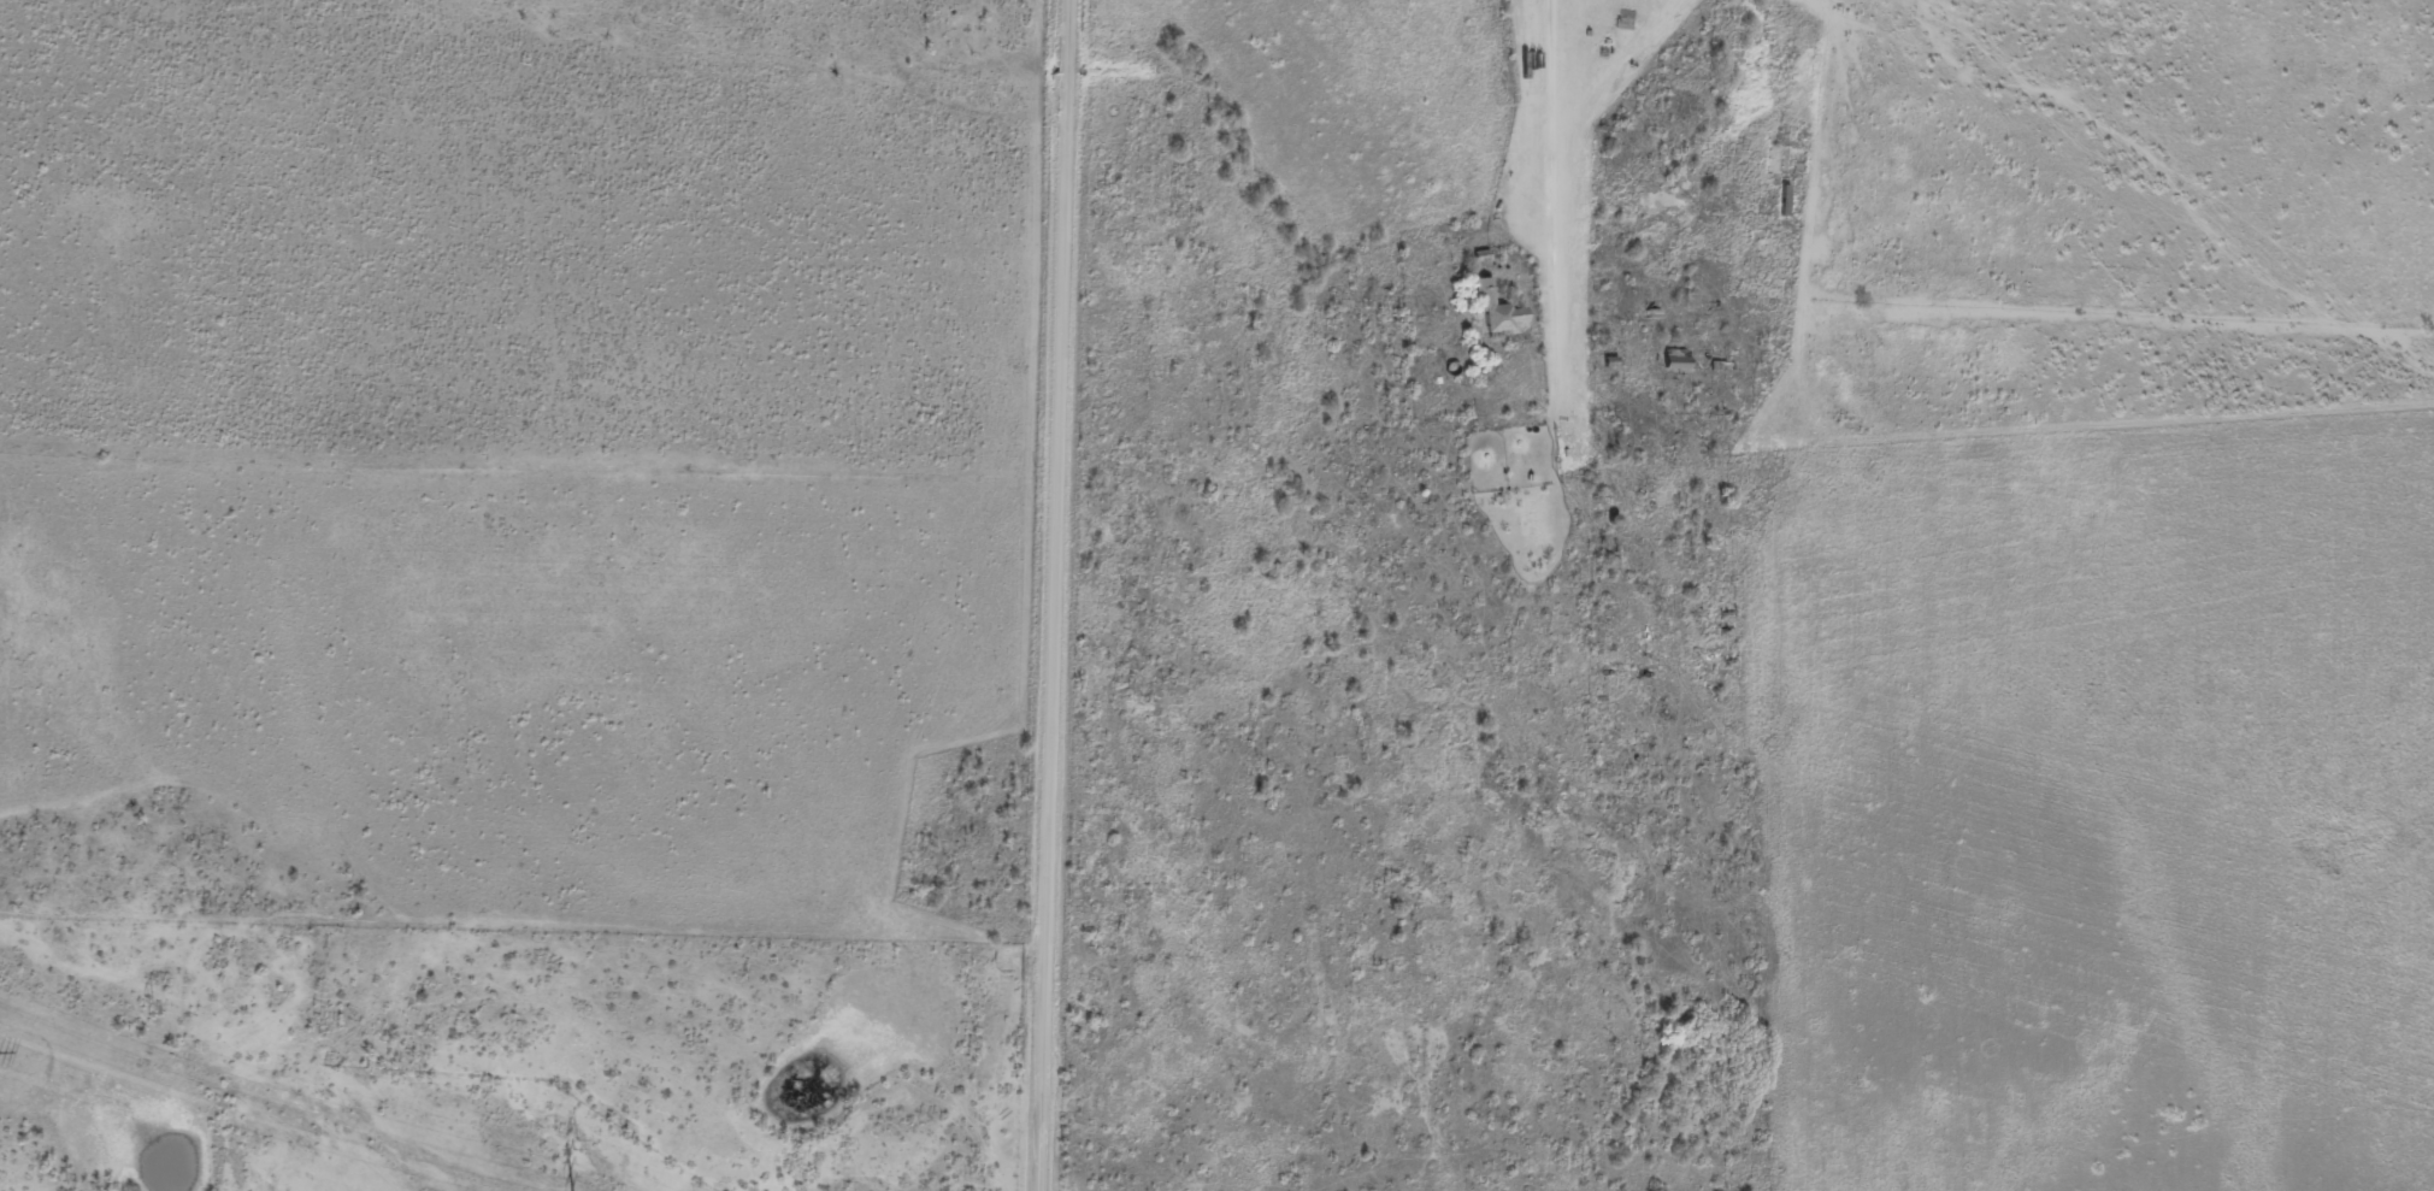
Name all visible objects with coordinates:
building: (1792, 163)
road: (1527, 184)
building: (1505, 316)
building: (1682, 361)
road: (1057, 595)
power tower: (149, 1009)
power tower: (576, 1144)

